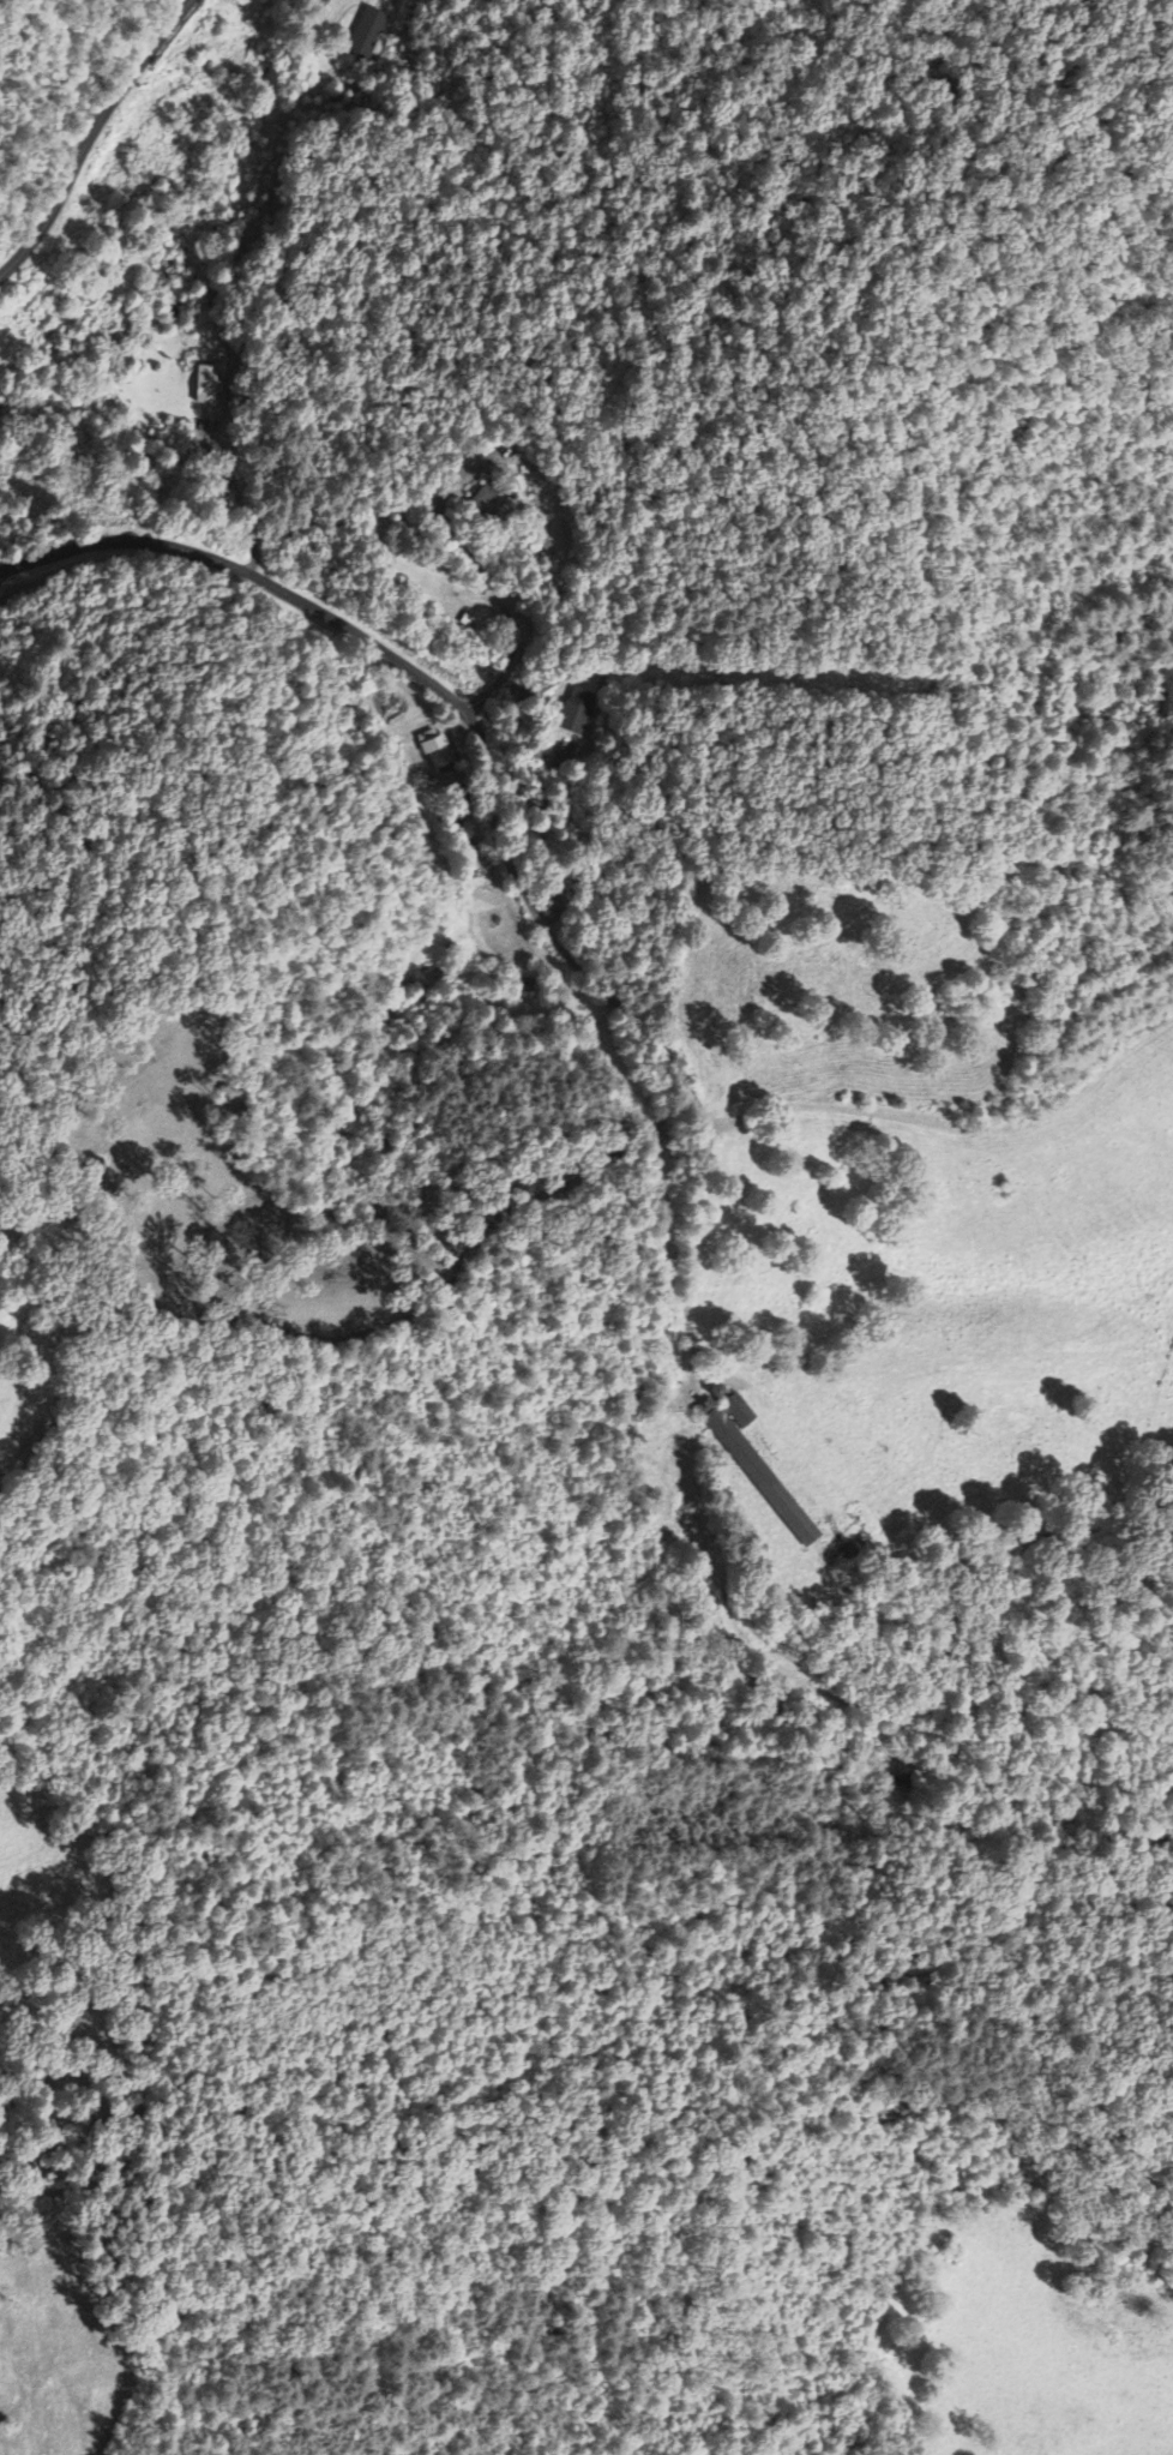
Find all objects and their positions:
building: (368, 32)
road: (90, 136)
road: (411, 670)
building: (576, 713)
building: (435, 751)
building: (757, 1467)

